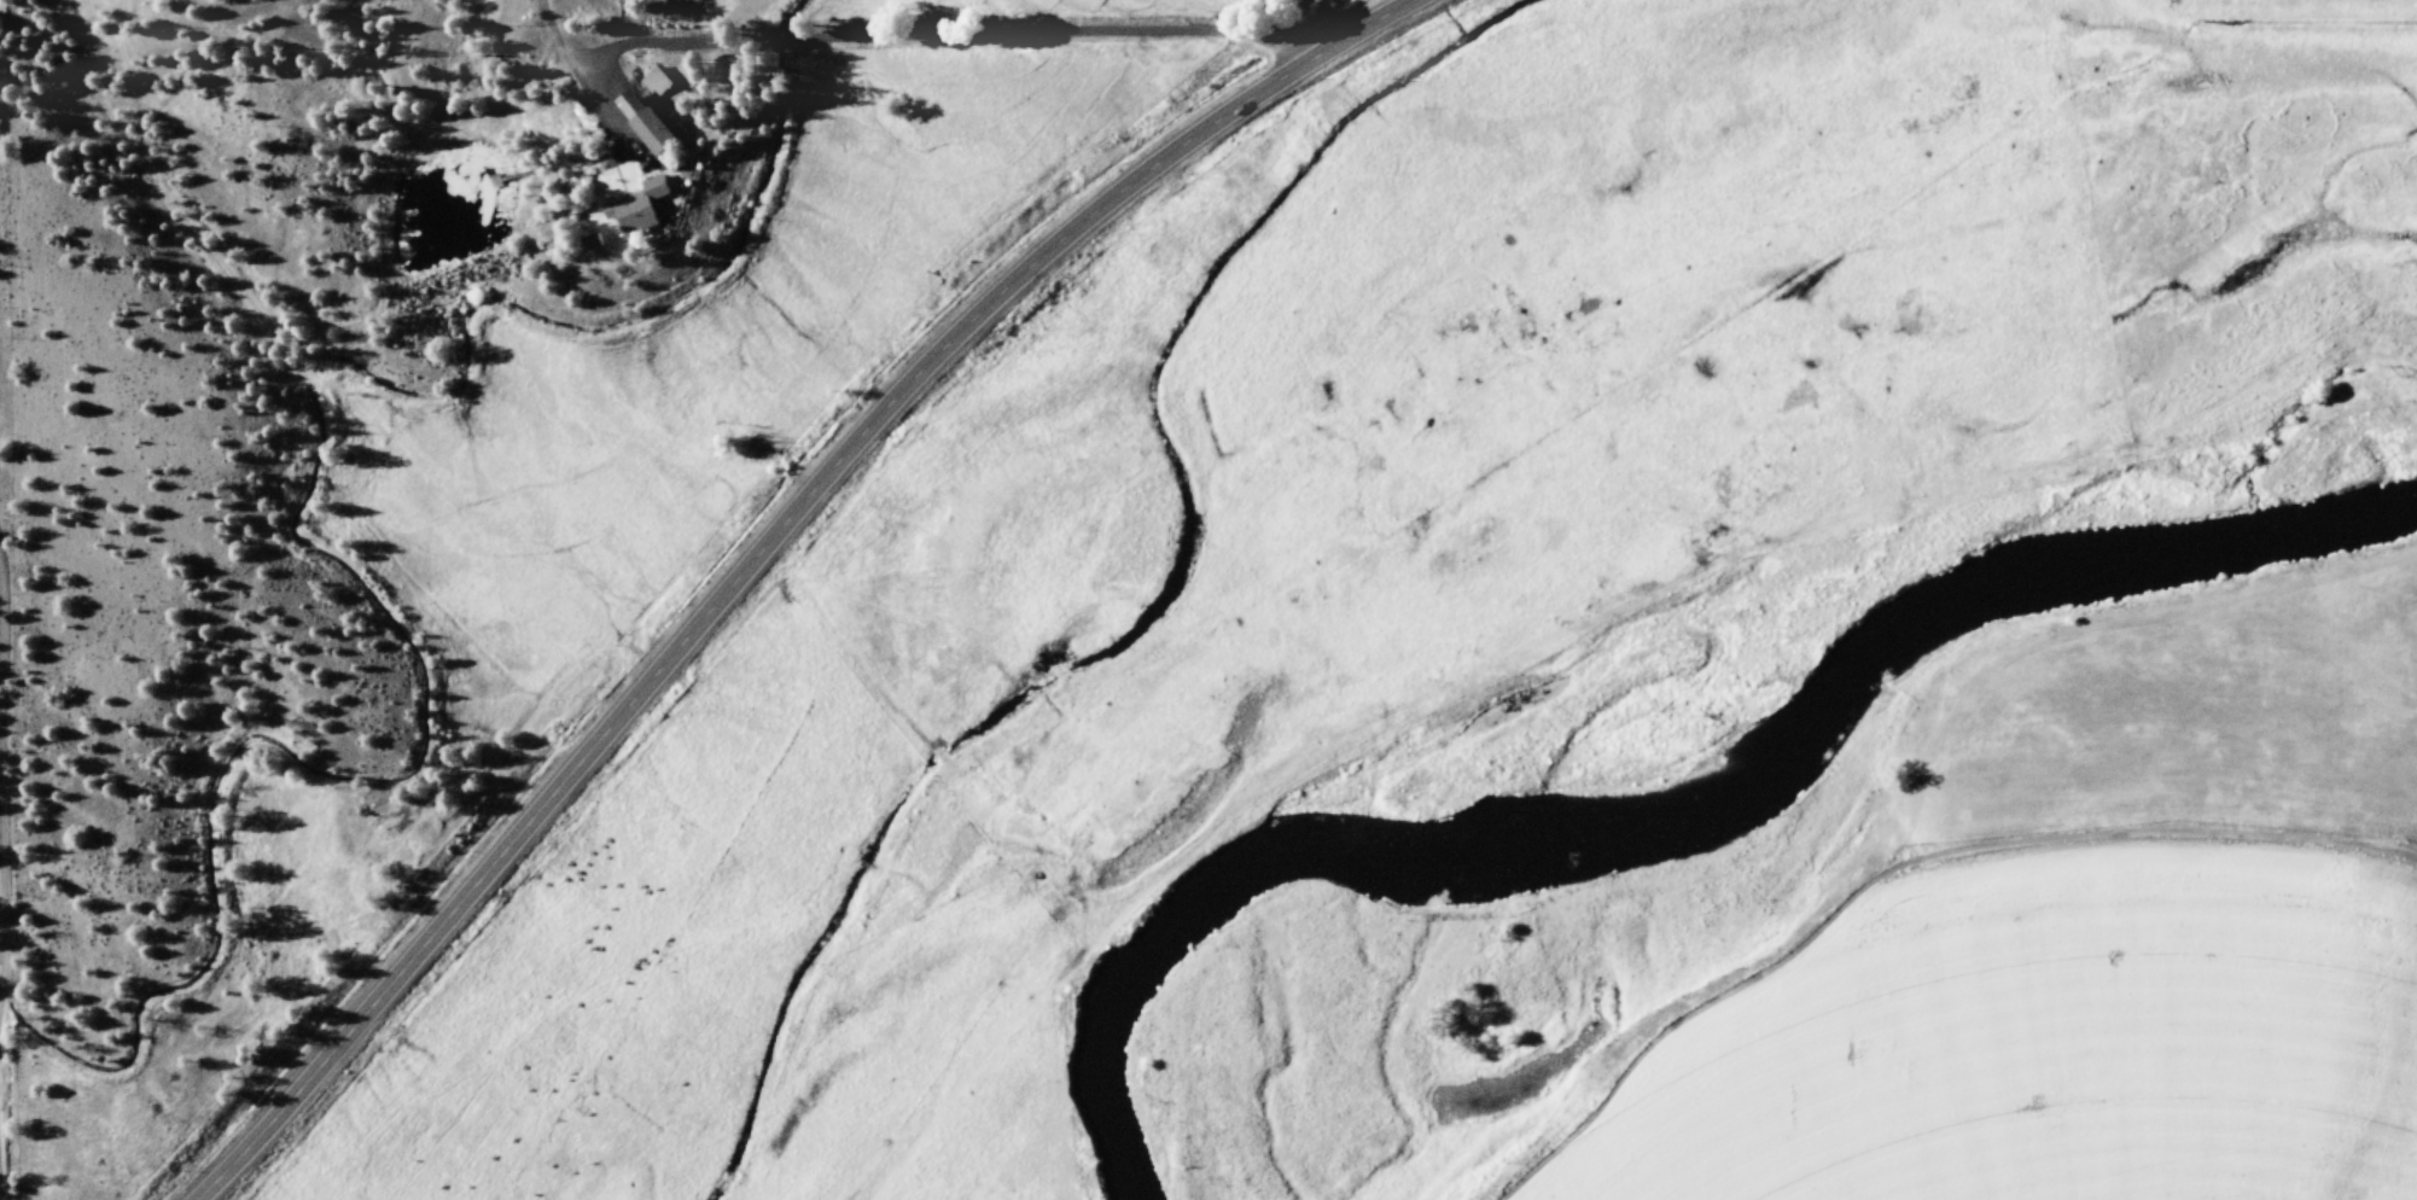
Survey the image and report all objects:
road: (945, 36)
building: (656, 83)
building: (641, 121)
building: (635, 206)
road: (767, 551)
river: (1638, 732)
road: (6, 863)
road: (4, 890)

